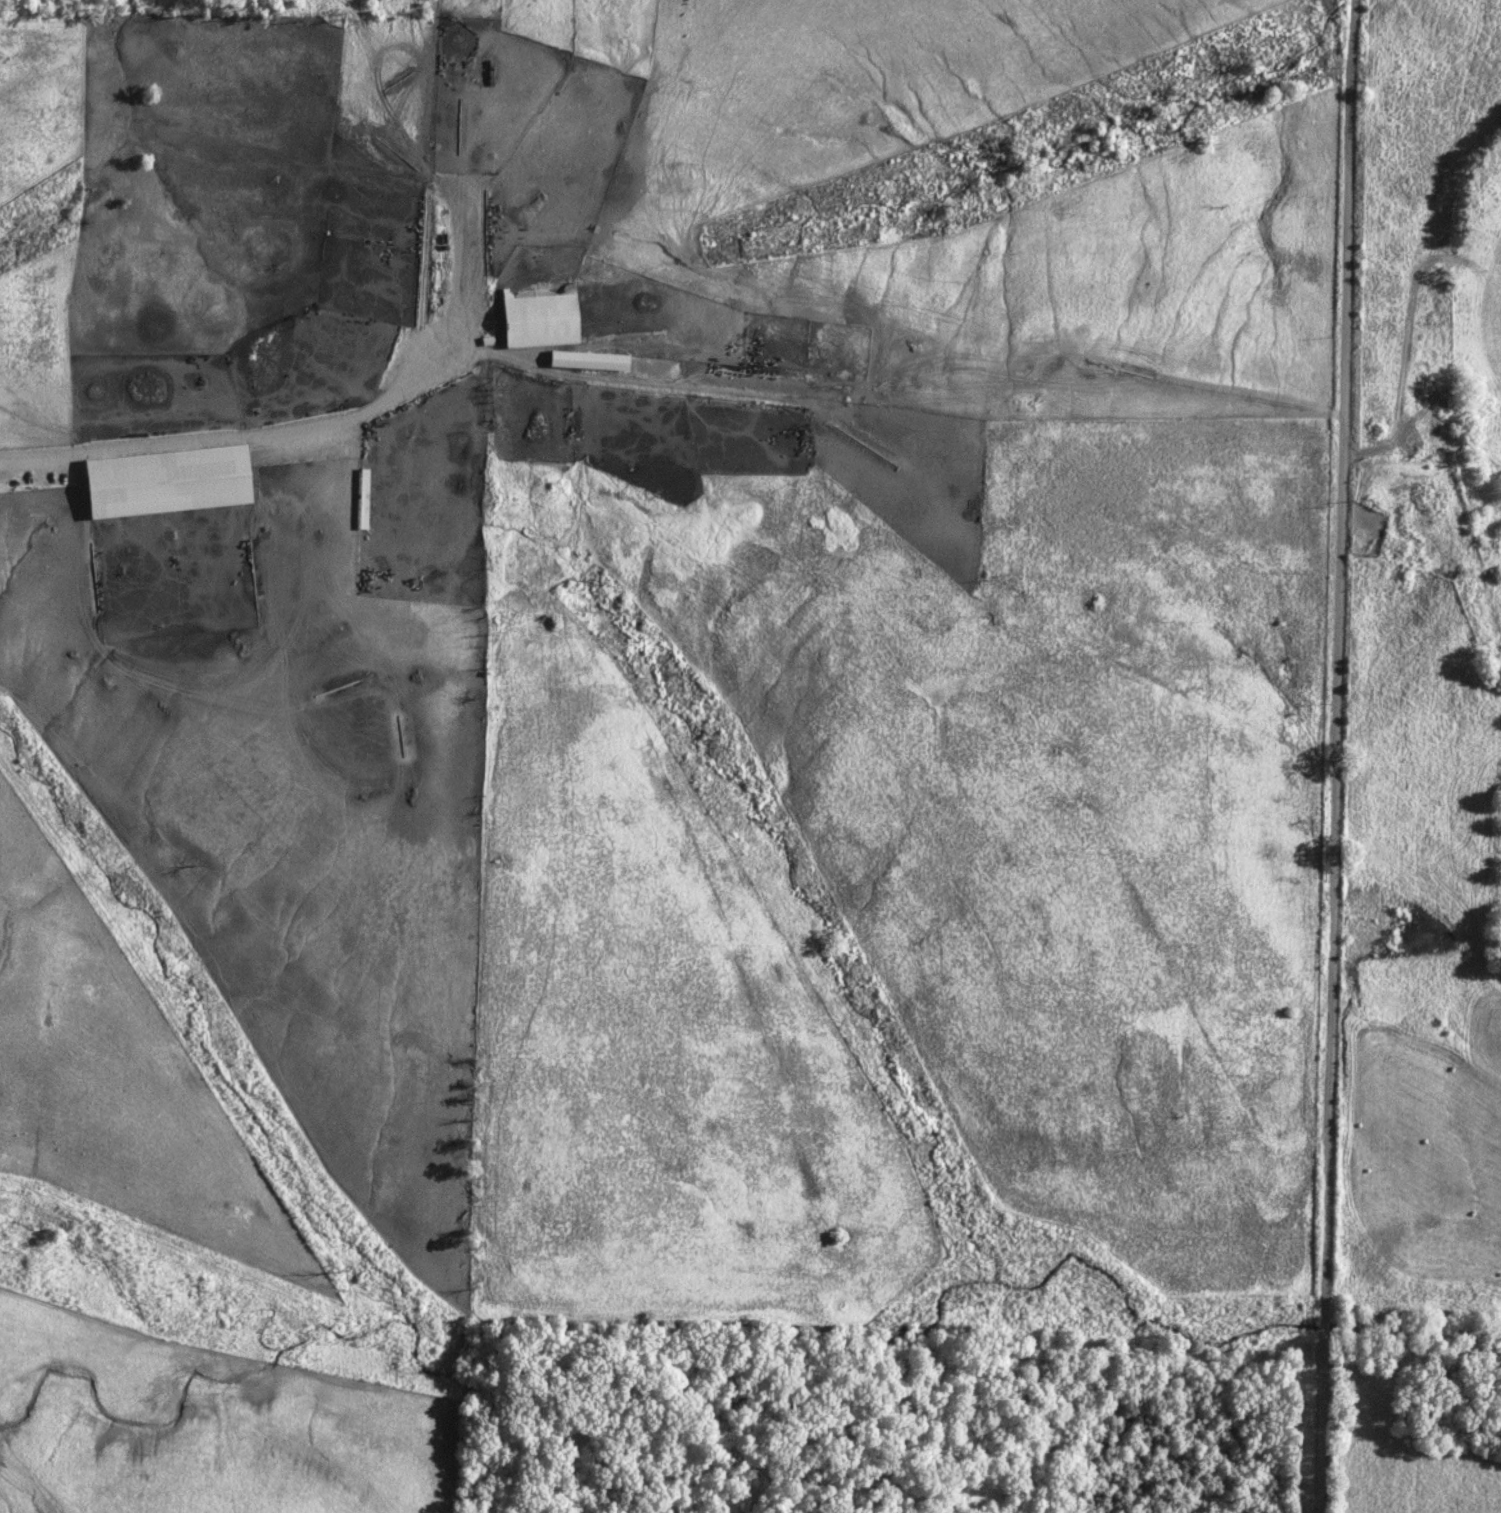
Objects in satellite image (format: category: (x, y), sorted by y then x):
building: (485, 74)
building: (377, 237)
building: (374, 311)
building: (536, 318)
building: (586, 362)
building: (370, 452)
building: (164, 483)
building: (361, 503)
road: (1337, 756)

